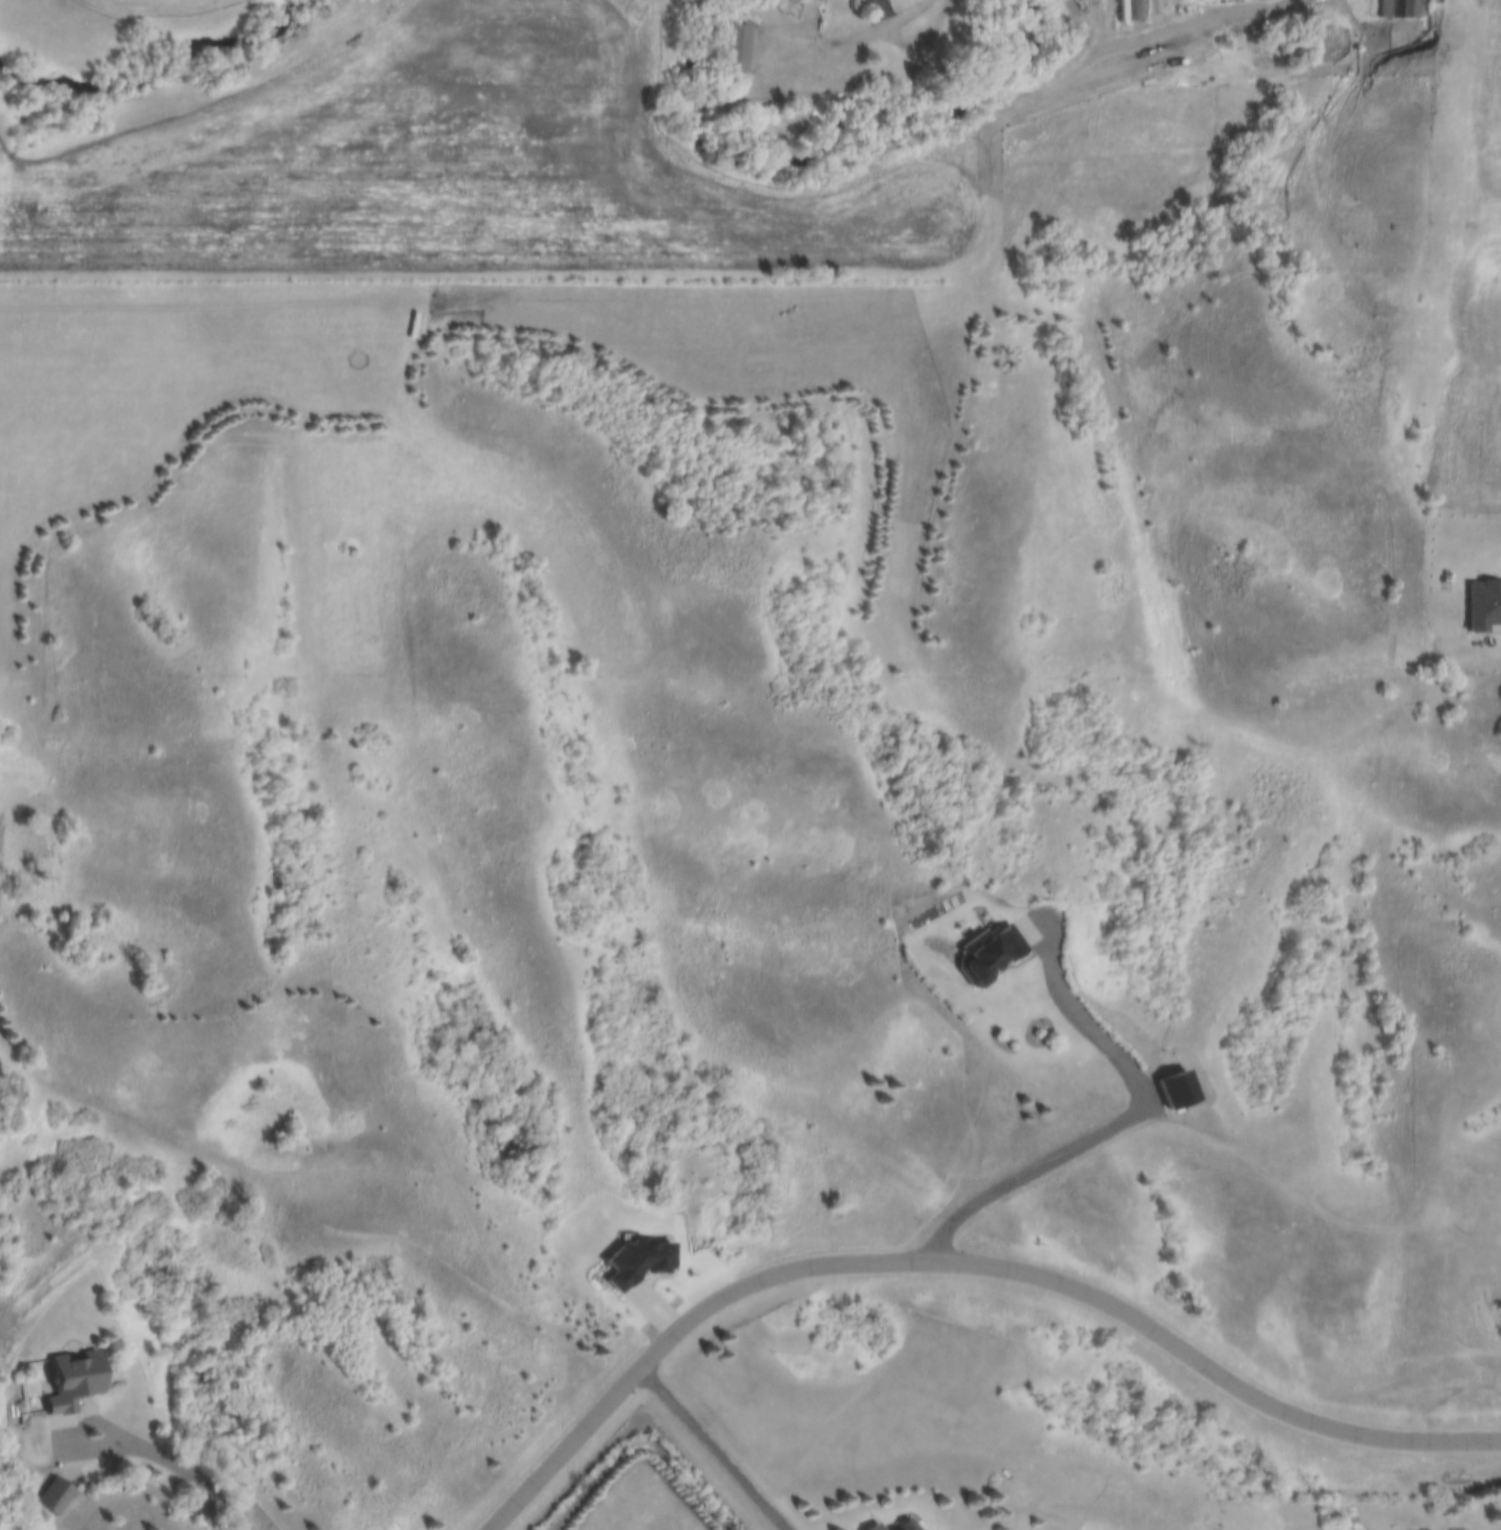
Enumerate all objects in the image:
road: (927, 2)
building: (1399, 9)
building: (1135, 10)
road: (1169, 24)
building: (845, 42)
building: (736, 48)
building: (1009, 955)
building: (1188, 1093)
road: (1102, 1142)
road: (962, 1264)
building: (71, 1383)
road: (709, 1450)
road: (173, 1457)
building: (52, 1496)
building: (919, 1524)
building: (885, 1526)

